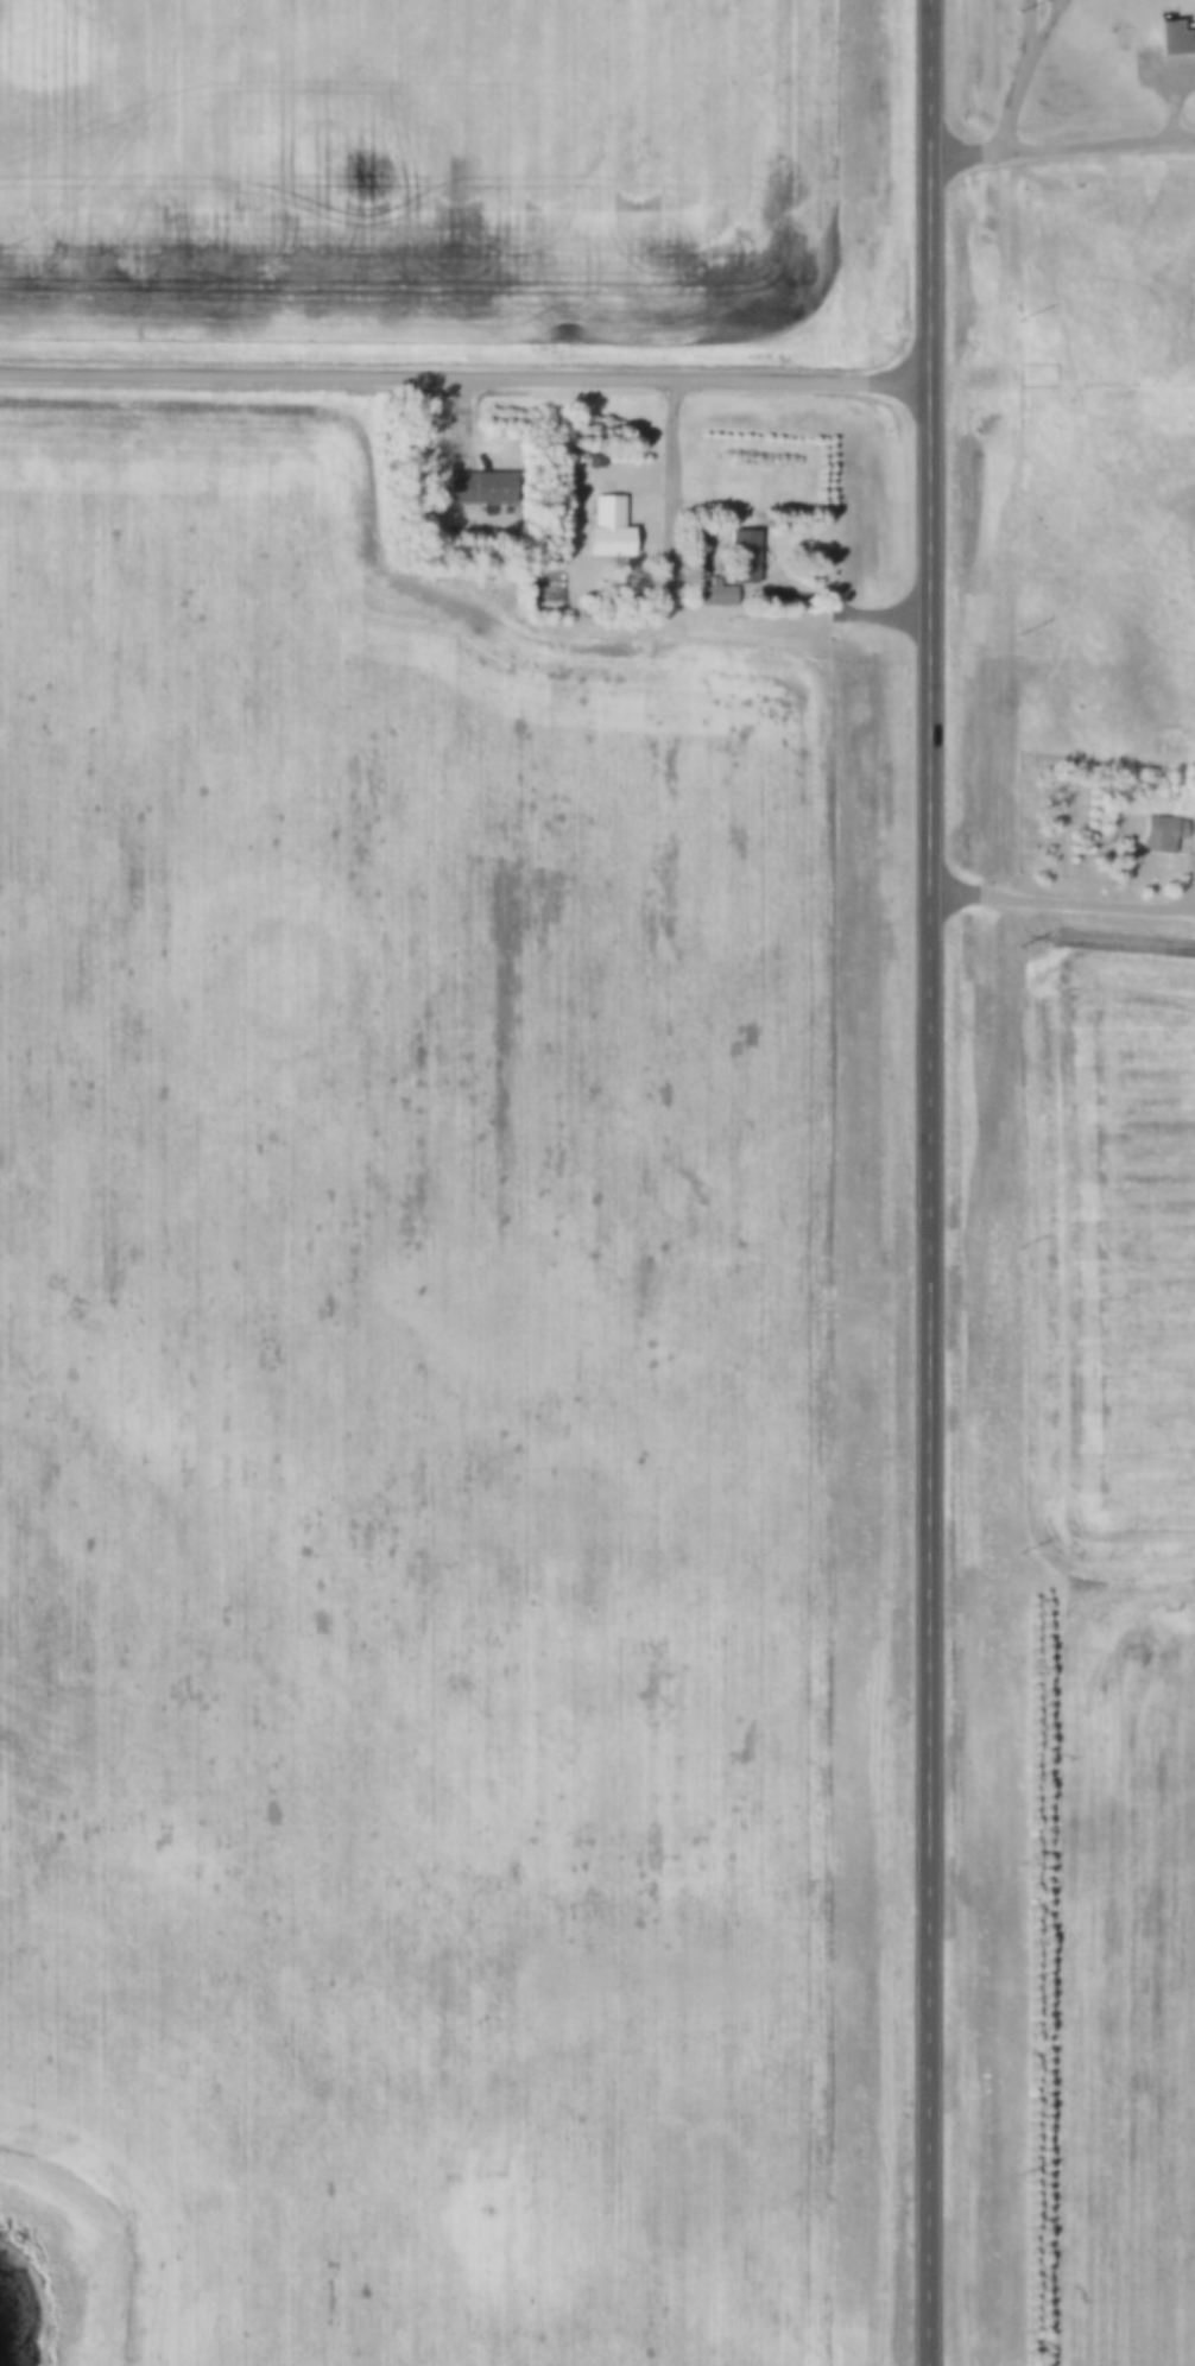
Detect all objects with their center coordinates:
building: (1175, 39)
road: (1022, 77)
road: (1060, 144)
road: (463, 372)
road: (671, 488)
building: (483, 491)
building: (622, 526)
building: (736, 588)
building: (1193, 824)
building: (1164, 835)
road: (1056, 899)
road: (925, 1183)

